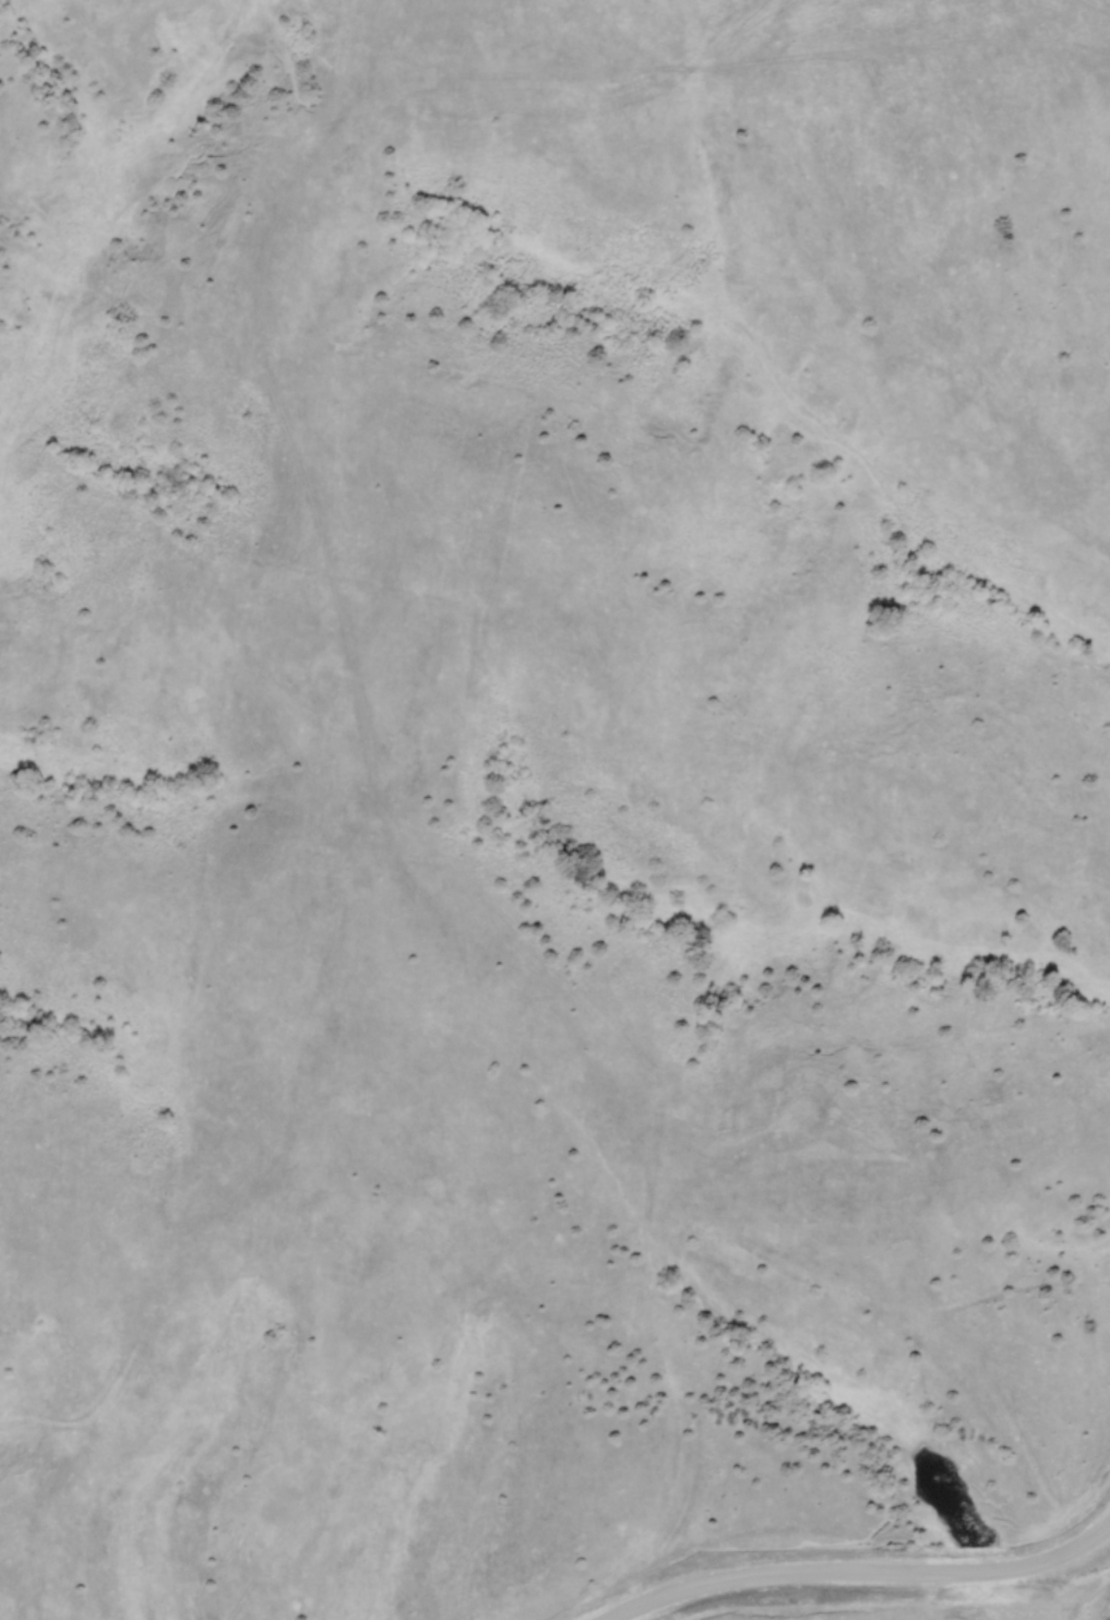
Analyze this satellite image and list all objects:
road: (859, 1569)

